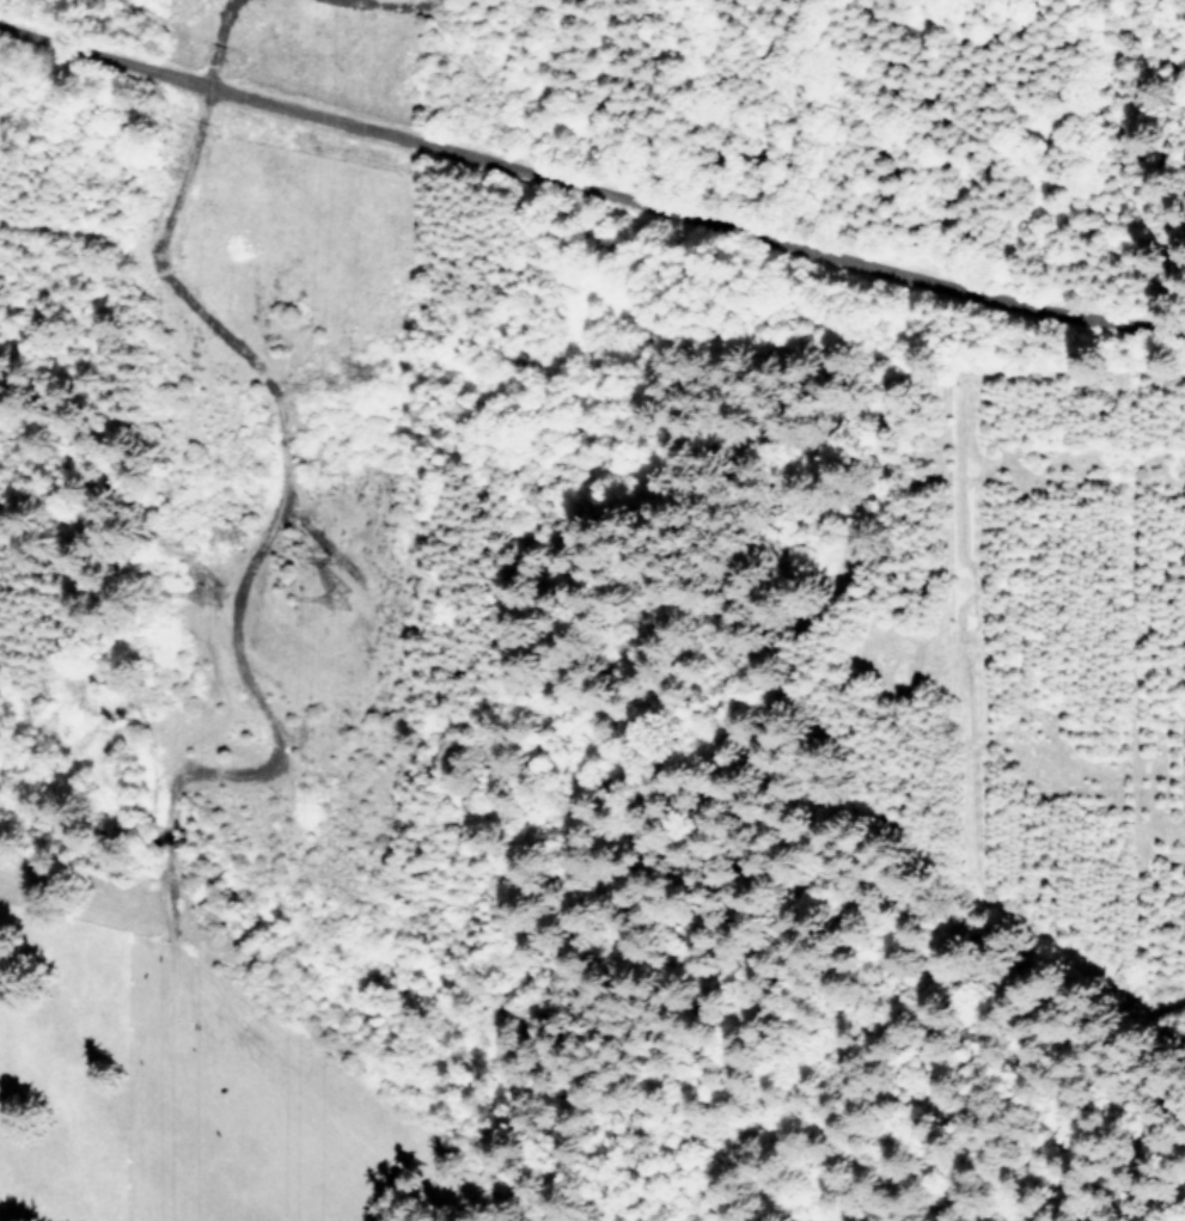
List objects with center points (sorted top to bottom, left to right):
road: (591, 183)
power tower: (220, 598)
power tower: (347, 608)

